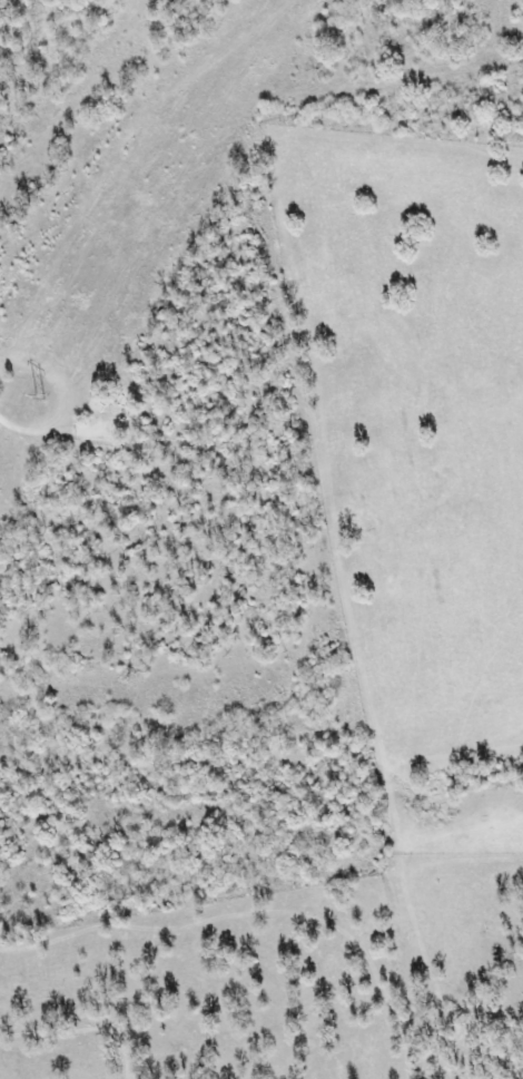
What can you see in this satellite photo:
power tower: (46, 401)

